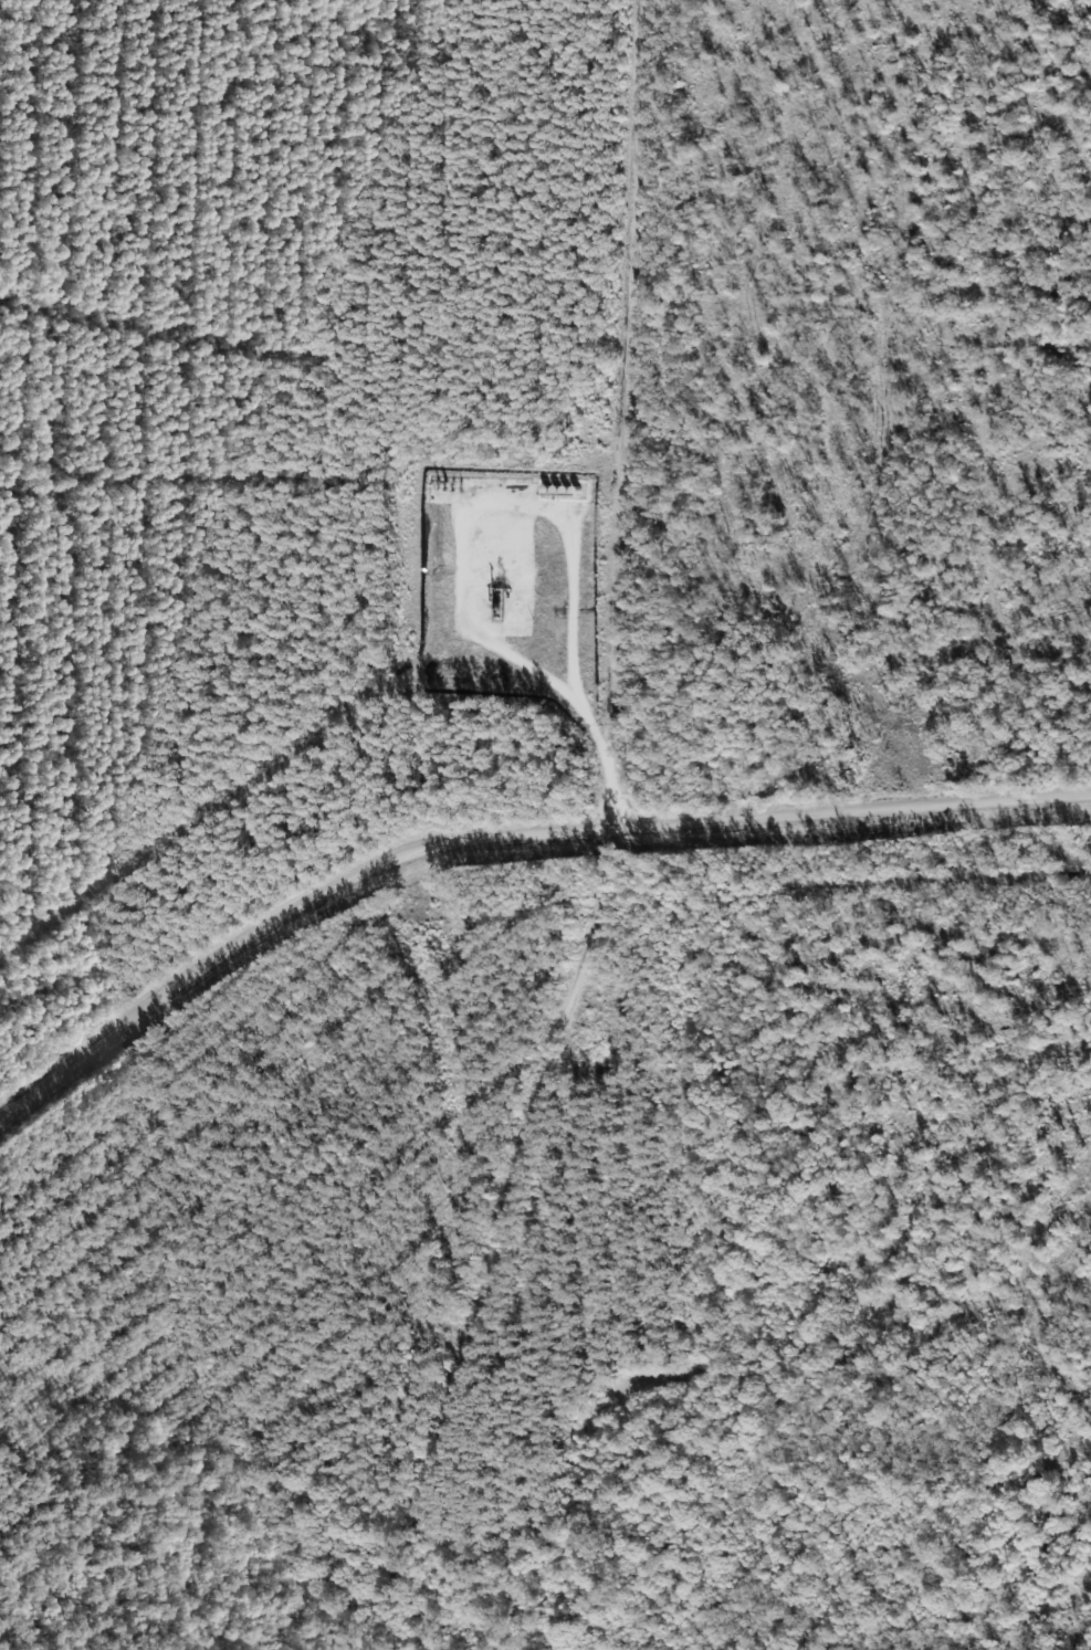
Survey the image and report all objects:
road: (508, 833)
road: (613, 843)

